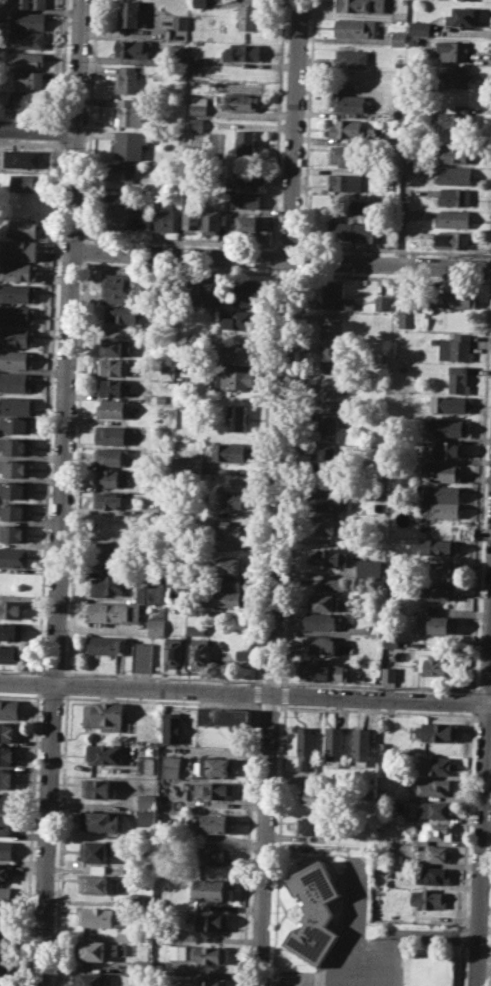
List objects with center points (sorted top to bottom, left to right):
building: (200, 2)
building: (32, 3)
building: (361, 5)
building: (130, 12)
building: (464, 15)
building: (249, 17)
building: (31, 19)
building: (180, 21)
building: (355, 26)
building: (419, 28)
building: (398, 38)
building: (27, 40)
building: (132, 47)
building: (452, 50)
building: (243, 51)
building: (352, 56)
building: (26, 59)
building: (456, 78)
building: (30, 79)
building: (126, 79)
building: (347, 99)
building: (27, 100)
building: (242, 101)
building: (198, 107)
building: (129, 111)
building: (457, 117)
road: (280, 124)
road: (308, 125)
building: (196, 126)
road: (38, 129)
building: (351, 129)
building: (393, 140)
building: (247, 142)
building: (130, 144)
building: (458, 152)
building: (347, 153)
building: (22, 158)
building: (119, 171)
building: (456, 174)
building: (248, 176)
building: (23, 182)
building: (346, 182)
building: (456, 196)
building: (246, 199)
road: (403, 204)
building: (120, 213)
road: (87, 215)
building: (165, 216)
building: (142, 218)
building: (454, 218)
building: (191, 220)
building: (212, 221)
building: (23, 228)
building: (252, 228)
building: (355, 230)
building: (453, 239)
road: (289, 246)
building: (18, 249)
road: (394, 250)
road: (490, 257)
road: (274, 258)
road: (281, 258)
road: (303, 259)
road: (490, 267)
building: (18, 270)
road: (286, 271)
road: (393, 276)
building: (115, 287)
building: (145, 290)
building: (168, 291)
building: (244, 291)
building: (17, 292)
building: (190, 292)
building: (212, 293)
building: (335, 295)
building: (456, 298)
building: (382, 302)
building: (406, 310)
building: (17, 314)
building: (118, 315)
building: (235, 317)
building: (332, 327)
building: (17, 336)
building: (114, 346)
road: (284, 346)
building: (455, 347)
building: (240, 353)
building: (16, 359)
building: (331, 359)
building: (113, 367)
road: (79, 372)
road: (51, 377)
building: (457, 378)
building: (234, 379)
building: (16, 382)
building: (112, 387)
building: (328, 392)
building: (451, 403)
building: (15, 405)
building: (112, 408)
building: (238, 417)
building: (17, 424)
building: (326, 426)
building: (449, 426)
building: (112, 435)
building: (15, 444)
building: (448, 448)
building: (232, 452)
building: (110, 456)
building: (326, 462)
building: (187, 463)
building: (15, 468)
building: (443, 470)
road: (264, 475)
building: (106, 478)
road: (293, 478)
building: (239, 480)
road: (481, 484)
building: (14, 489)
building: (442, 492)
road: (60, 493)
building: (231, 497)
building: (107, 499)
building: (326, 501)
building: (441, 509)
building: (14, 511)
building: (105, 521)
building: (326, 523)
building: (229, 531)
building: (14, 533)
building: (437, 546)
building: (107, 554)
building: (13, 556)
building: (328, 556)
building: (230, 564)
building: (438, 569)
building: (368, 570)
building: (228, 581)
building: (108, 584)
building: (330, 584)
building: (150, 590)
building: (439, 590)
building: (230, 598)
building: (325, 601)
building: (11, 608)
building: (114, 611)
building: (318, 621)
building: (438, 624)
building: (155, 627)
building: (196, 629)
building: (10, 631)
building: (391, 640)
building: (107, 644)
building: (317, 644)
building: (173, 650)
building: (199, 652)
building: (10, 653)
building: (242, 653)
building: (143, 656)
building: (434, 664)
road: (19, 669)
road: (41, 670)
road: (52, 670)
building: (324, 671)
building: (359, 671)
building: (388, 673)
road: (162, 676)
road: (270, 681)
road: (38, 682)
road: (66, 684)
road: (379, 685)
road: (484, 689)
road: (245, 691)
road: (285, 694)
road: (472, 701)
road: (259, 705)
building: (10, 709)
building: (104, 715)
building: (223, 716)
building: (172, 727)
building: (439, 730)
building: (9, 731)
building: (333, 743)
building: (360, 743)
building: (304, 747)
building: (104, 753)
building: (8, 754)
building: (146, 765)
building: (437, 765)
building: (171, 766)
building: (213, 767)
building: (8, 778)
building: (432, 786)
building: (98, 788)
building: (213, 790)
building: (382, 792)
building: (316, 795)
road: (482, 795)
building: (147, 799)
building: (7, 802)
building: (432, 809)
building: (145, 818)
building: (99, 820)
building: (216, 823)
building: (7, 825)
building: (315, 825)
building: (431, 832)
road: (31, 839)
road: (59, 839)
road: (263, 839)
road: (279, 844)
road: (466, 848)
building: (6, 849)
building: (98, 850)
building: (434, 853)
building: (215, 855)
building: (6, 872)
building: (432, 875)
building: (95, 883)
building: (212, 888)
building: (6, 895)
building: (428, 898)
building: (312, 914)
building: (97, 916)
building: (4, 919)
building: (211, 920)
building: (3, 944)
road: (380, 945)
building: (96, 949)
building: (177, 951)
building: (208, 954)
building: (141, 966)
park: (428, 970)
building: (2, 971)
parking lot: (300, 977)
building: (88, 979)
building: (208, 981)
building: (1, 985)

